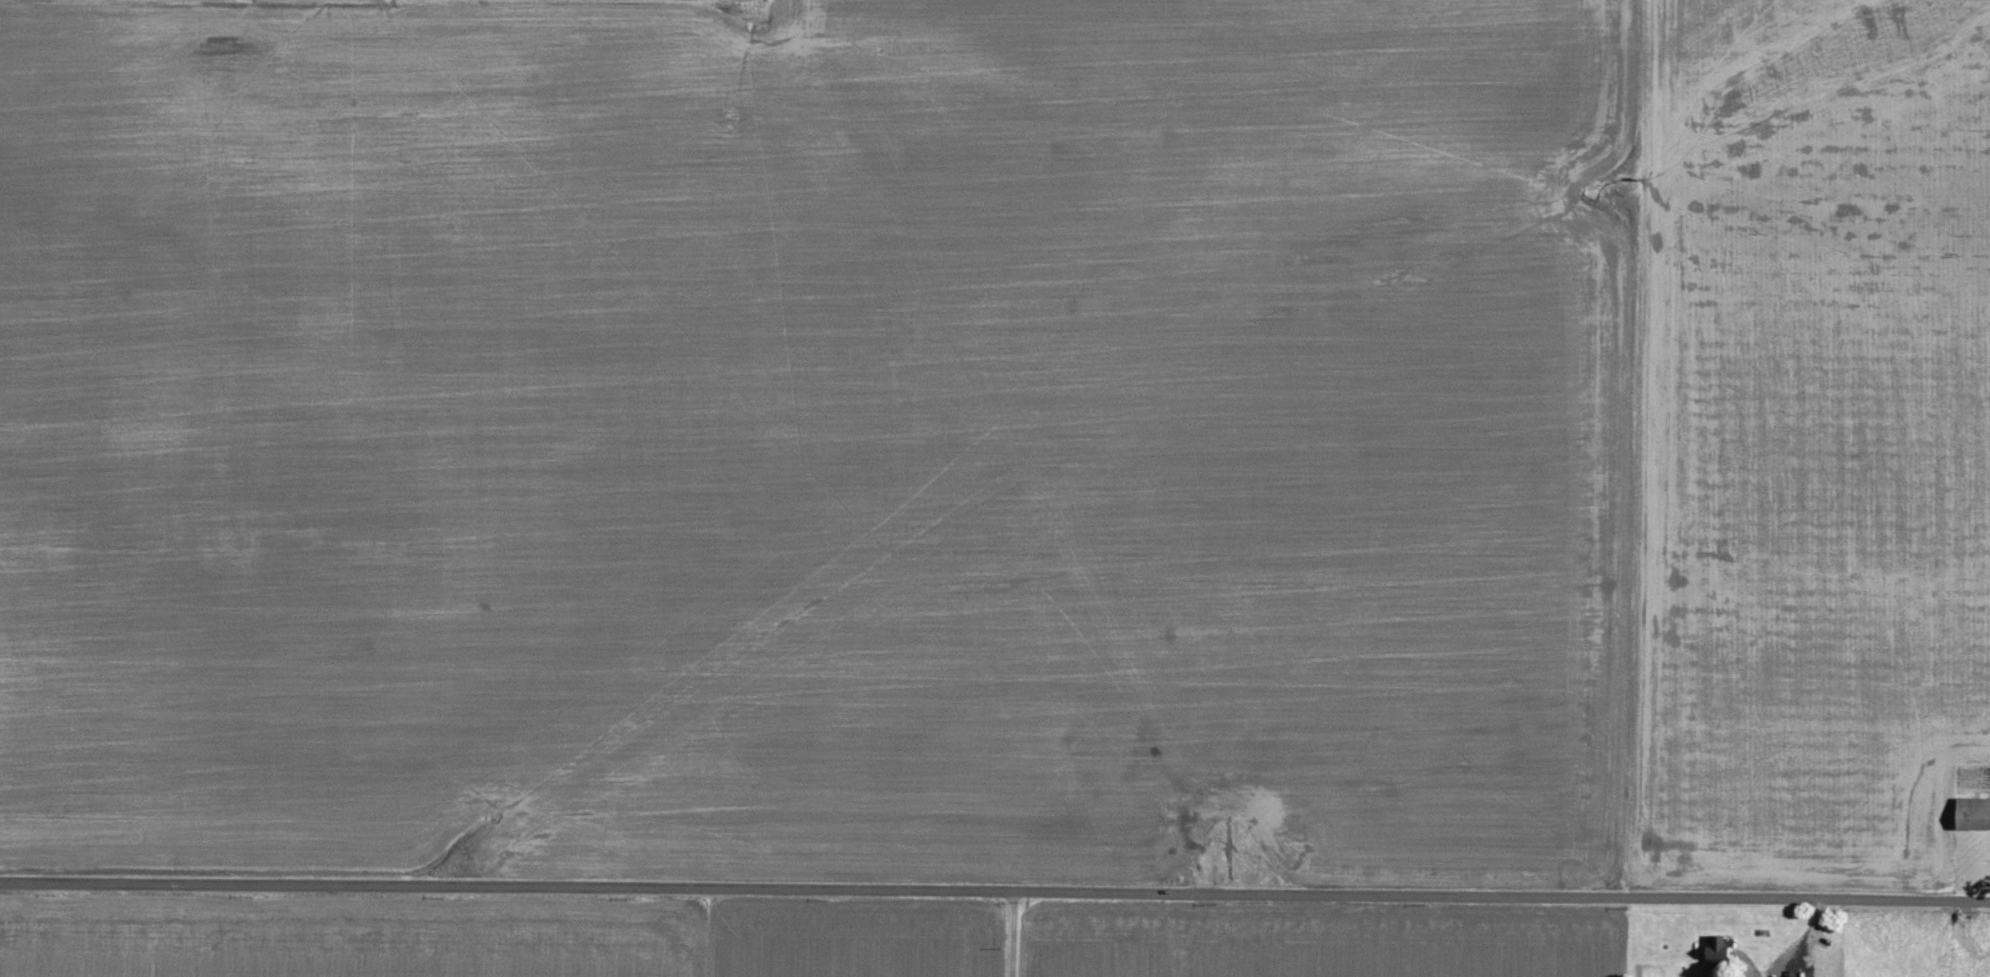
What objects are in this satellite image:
building: (1974, 814)
road: (995, 889)
road: (1013, 933)
road: (1809, 941)

